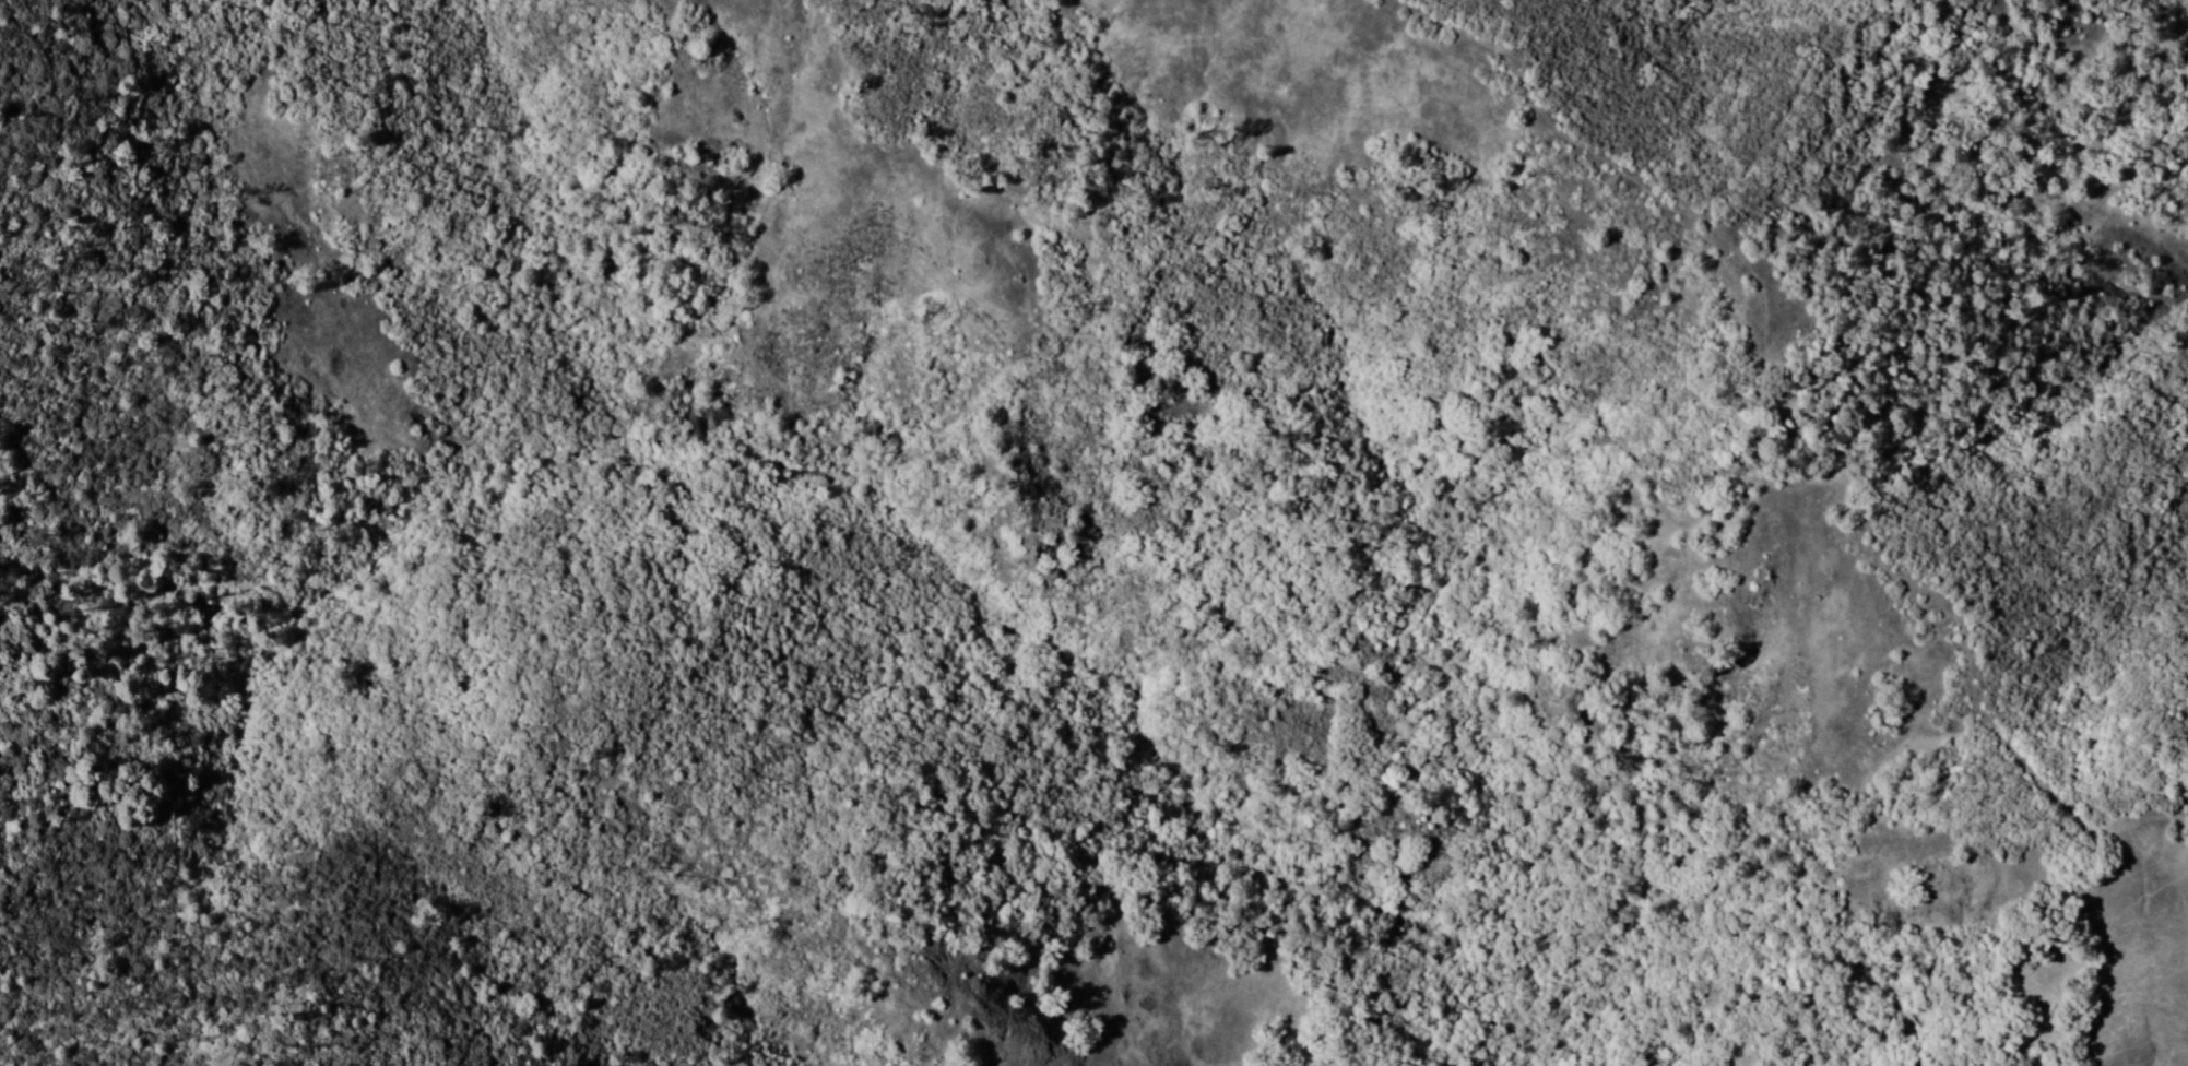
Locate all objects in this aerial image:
road: (1820, 411)

